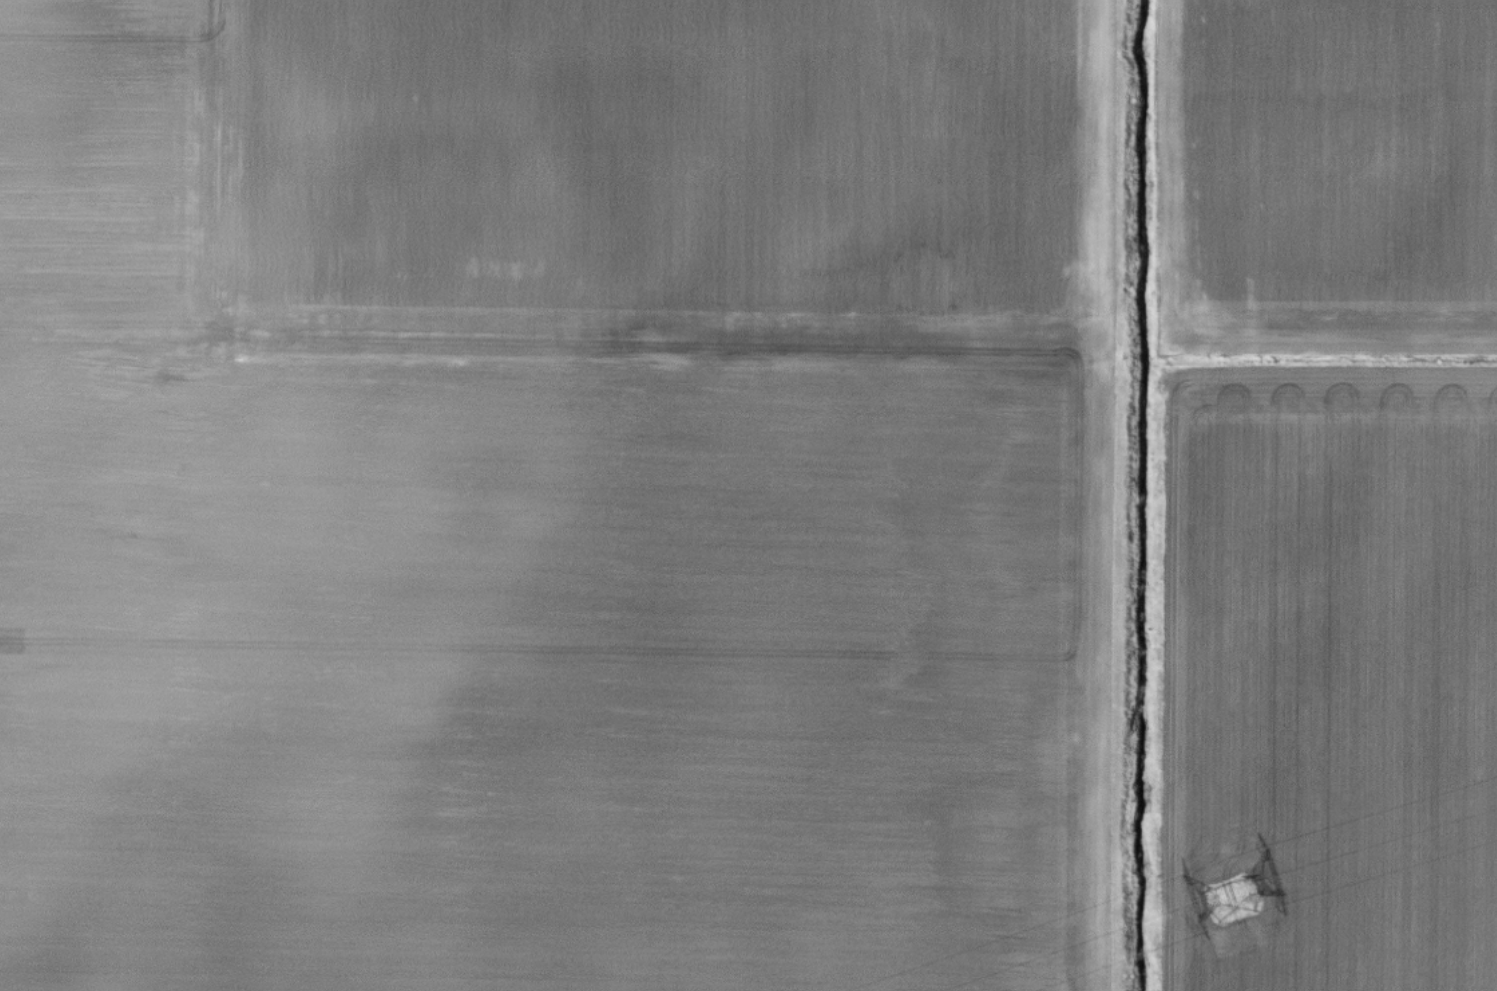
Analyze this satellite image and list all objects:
power tower: (1224, 880)

